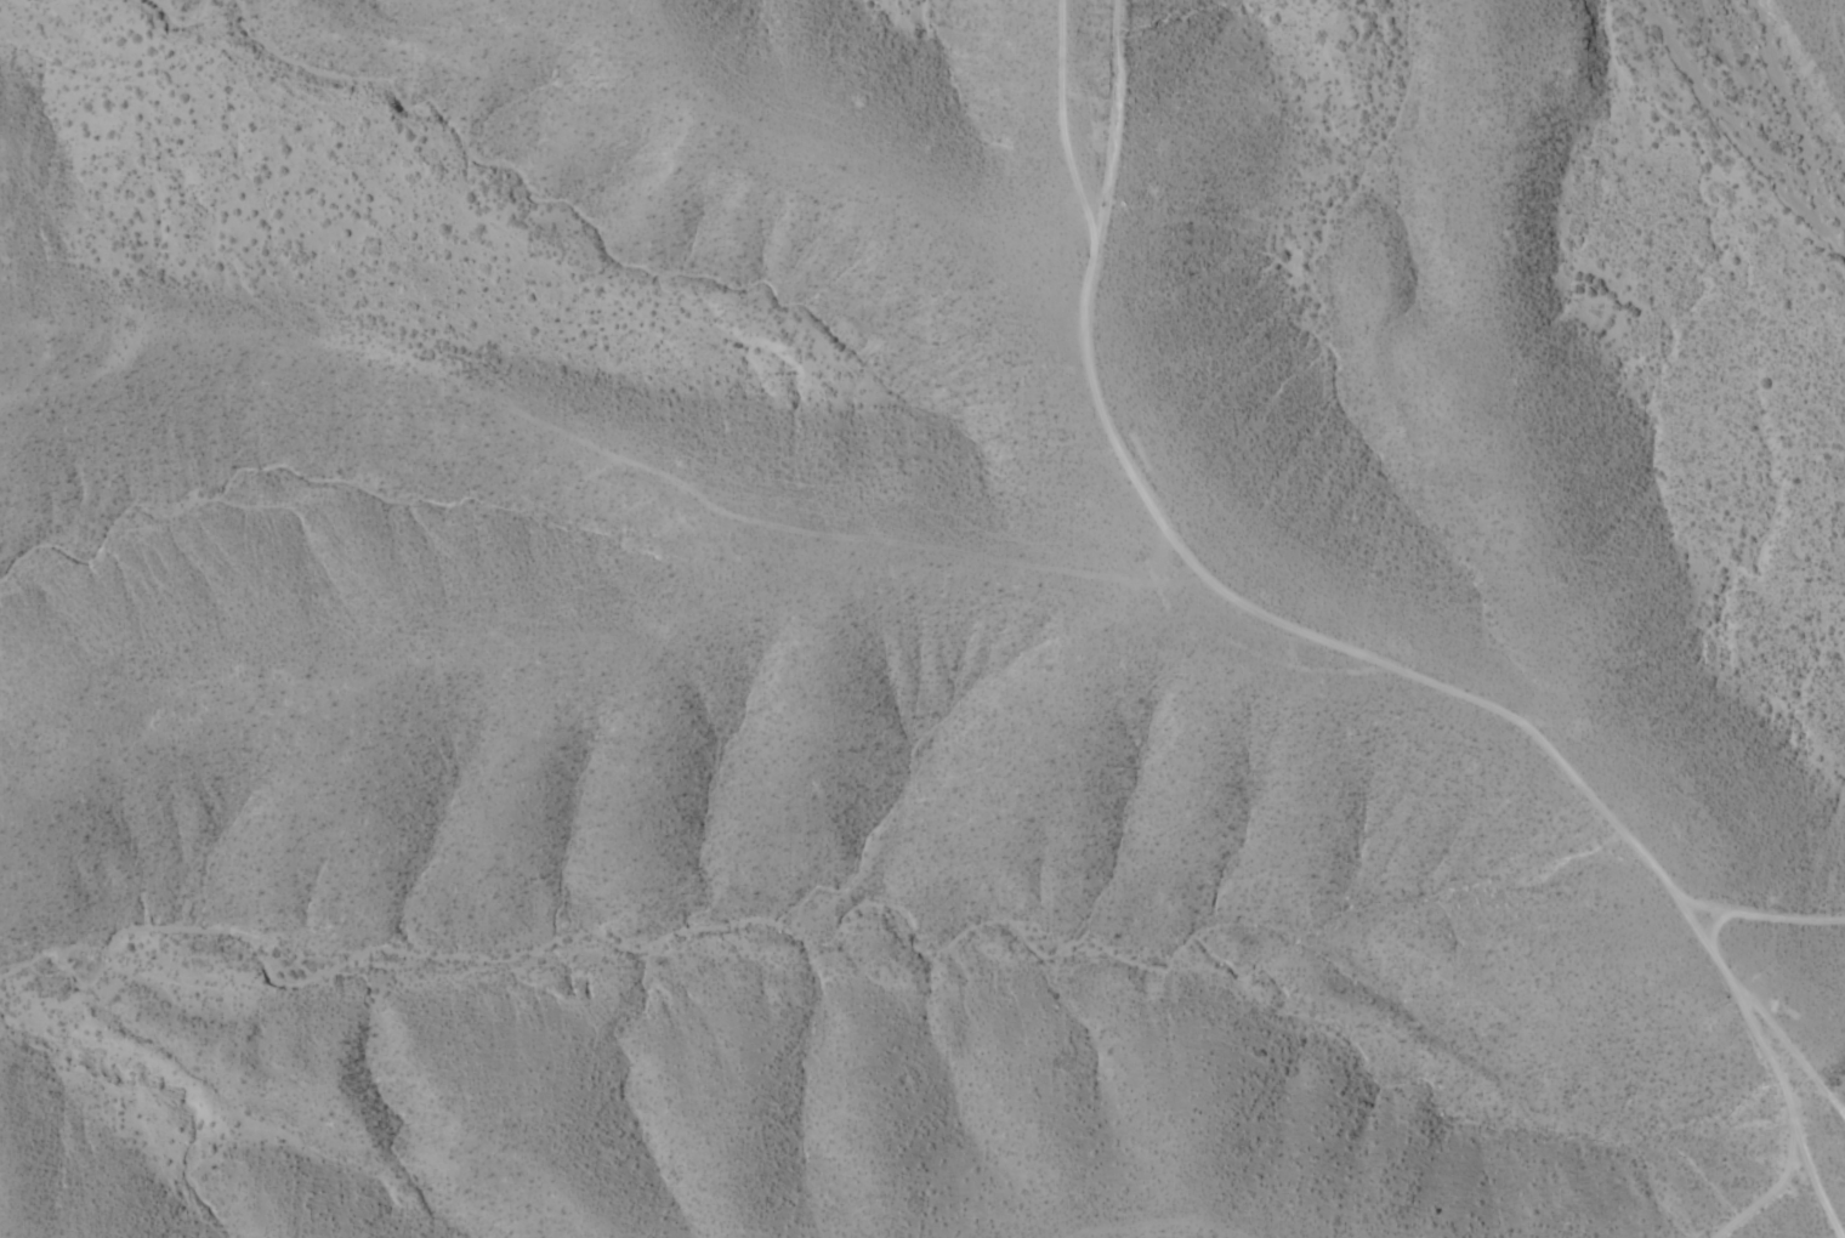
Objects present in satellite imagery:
road: (1795, 90)
road: (1060, 123)
road: (862, 538)
road: (1369, 659)
road: (1759, 916)
road: (1762, 1015)
road: (1811, 1182)

